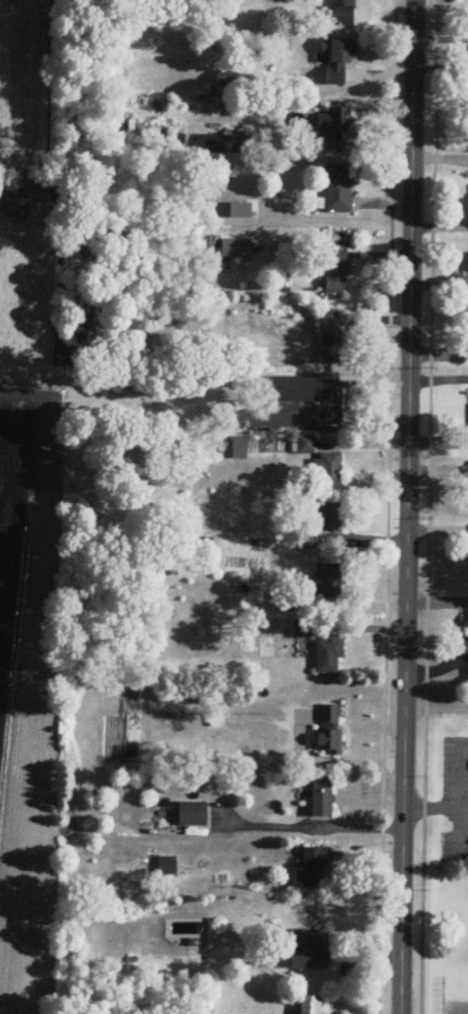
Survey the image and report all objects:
building: (343, 13)
building: (334, 61)
park: (27, 114)
building: (332, 129)
building: (228, 145)
building: (338, 190)
building: (235, 249)
building: (335, 273)
building: (330, 338)
building: (328, 398)
building: (305, 446)
building: (238, 449)
building: (328, 471)
road: (408, 506)
road: (428, 506)
road: (388, 507)
building: (331, 521)
building: (327, 583)
building: (304, 630)
building: (328, 657)
crop: (27, 674)
building: (214, 712)
road: (436, 712)
building: (328, 732)
road: (465, 800)
building: (320, 801)
parking lot: (455, 808)
road: (453, 810)
road: (422, 811)
building: (192, 816)
road: (309, 826)
road: (467, 827)
building: (167, 867)
park: (448, 869)
building: (315, 870)
building: (311, 954)
park: (455, 980)
building: (309, 1006)

